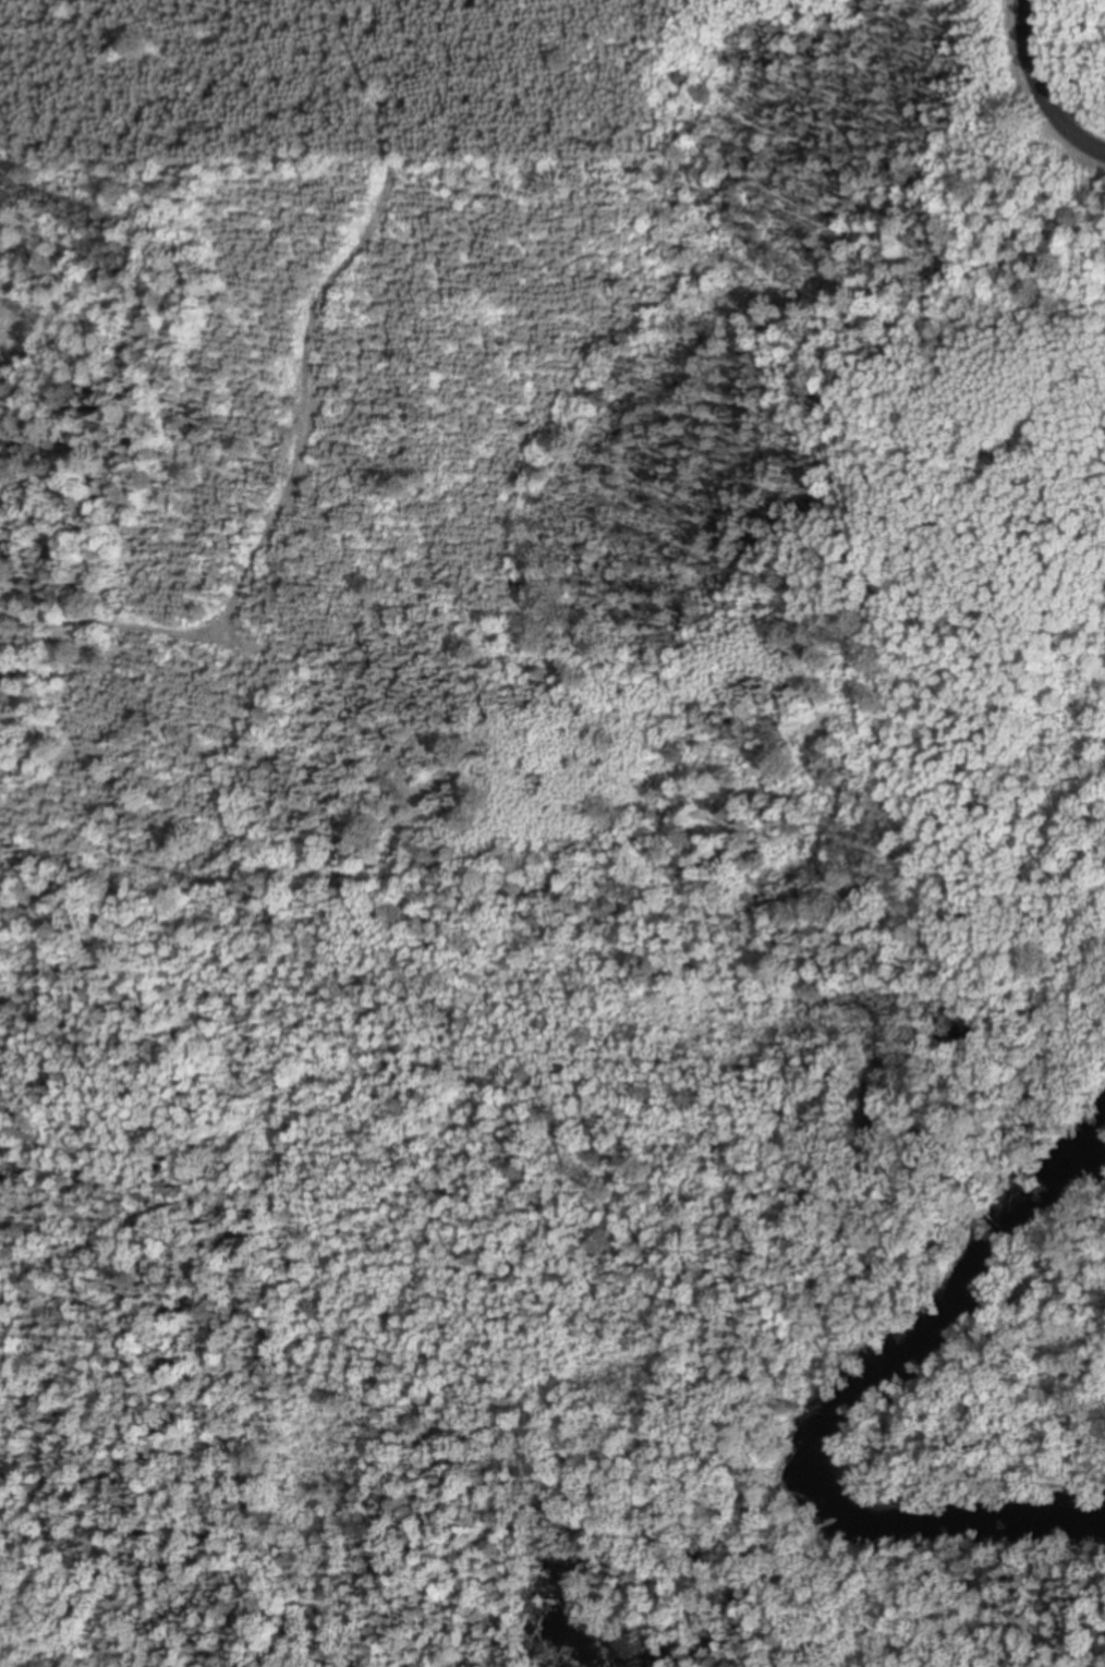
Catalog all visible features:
road: (1035, 98)
river: (853, 1395)

